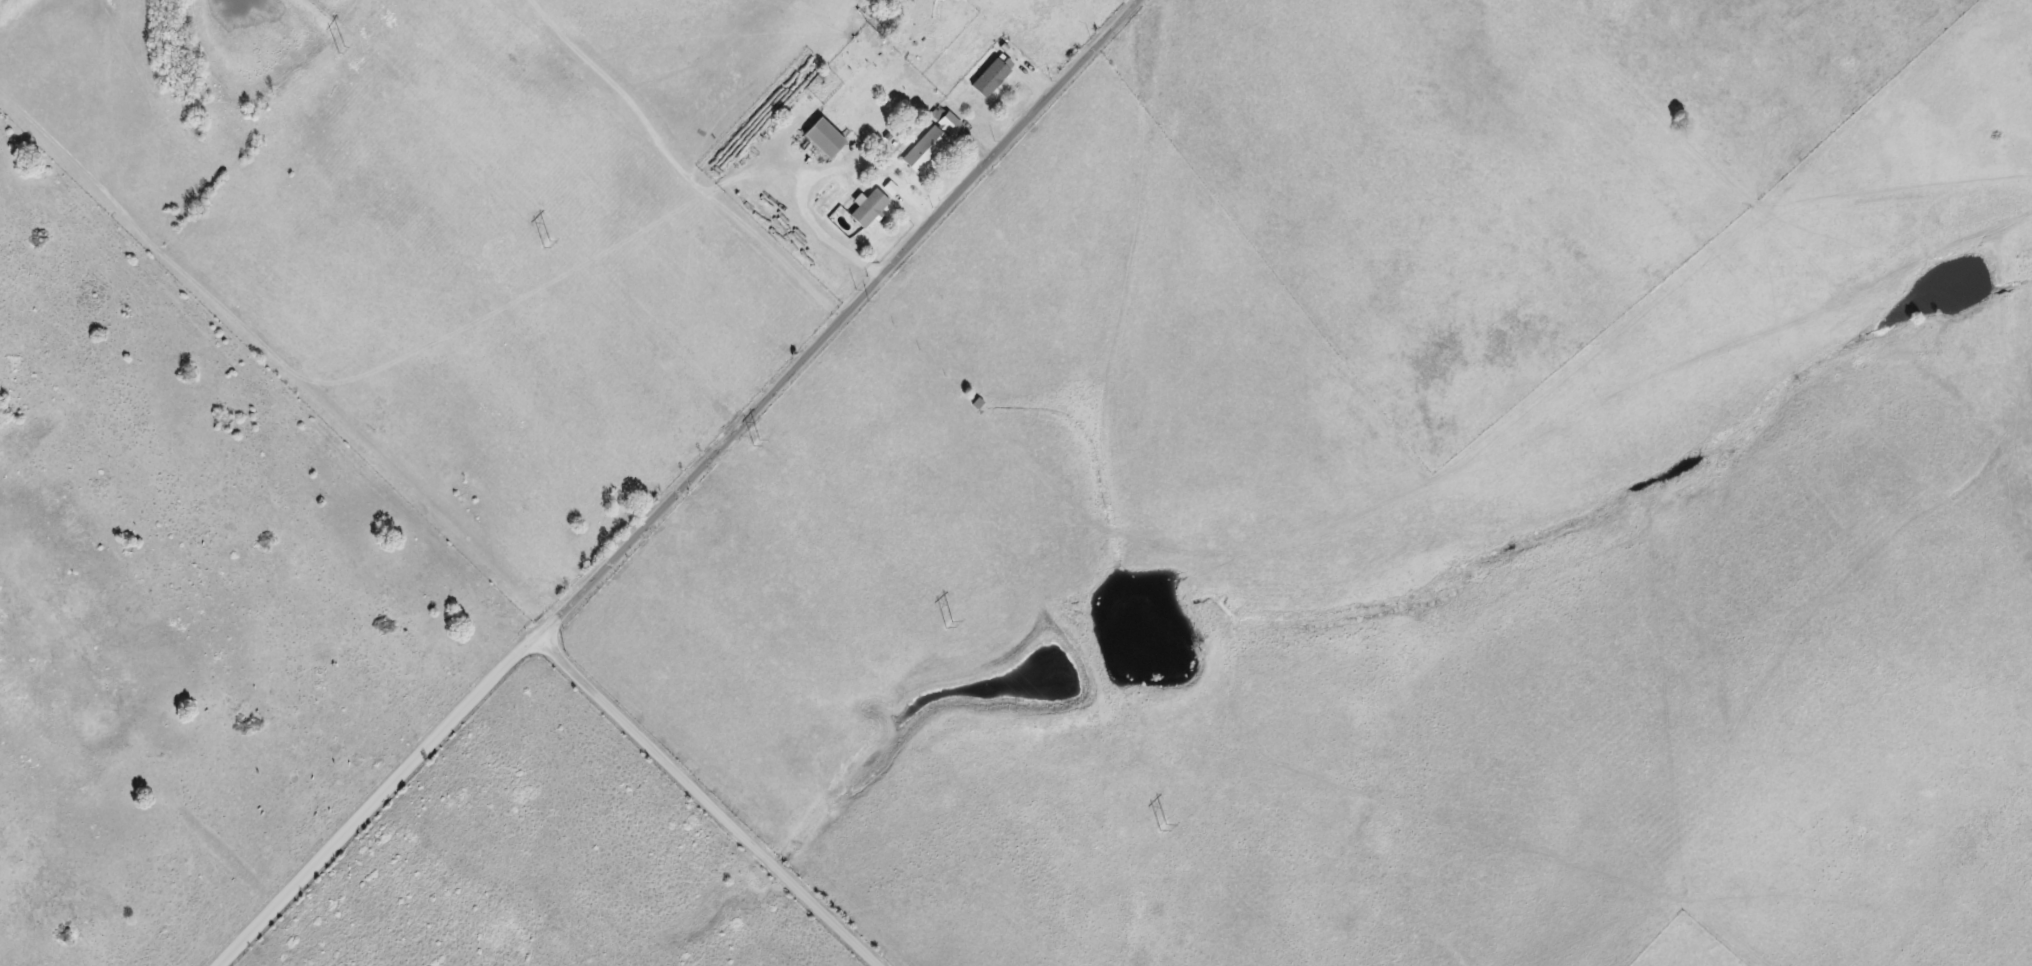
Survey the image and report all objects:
power tower: (333, 49)
building: (993, 77)
building: (825, 139)
building: (933, 140)
building: (869, 209)
power tower: (539, 241)
road: (811, 241)
power tower: (753, 446)
road: (685, 489)
power tower: (943, 623)
road: (707, 802)
power tower: (1158, 828)

